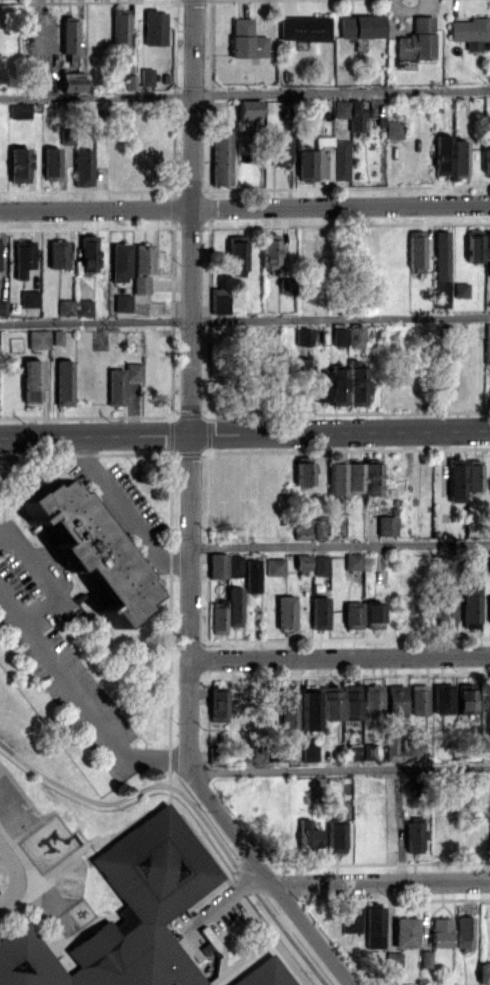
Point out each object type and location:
building: (360, 26)
building: (119, 27)
building: (154, 27)
building: (303, 28)
building: (470, 29)
building: (68, 37)
building: (245, 40)
building: (414, 43)
building: (146, 76)
building: (71, 81)
road: (244, 94)
building: (340, 108)
building: (248, 109)
building: (19, 110)
building: (355, 115)
building: (392, 129)
building: (280, 146)
building: (441, 154)
building: (220, 158)
building: (458, 158)
building: (340, 159)
building: (487, 160)
building: (51, 161)
building: (19, 164)
building: (305, 164)
building: (83, 167)
road: (244, 207)
building: (474, 245)
building: (487, 247)
building: (269, 251)
building: (416, 251)
building: (58, 253)
building: (88, 253)
building: (235, 253)
building: (441, 254)
building: (23, 257)
building: (143, 258)
building: (120, 262)
building: (141, 284)
building: (461, 290)
building: (441, 293)
building: (30, 298)
building: (218, 300)
building: (122, 303)
building: (3, 307)
building: (66, 307)
building: (85, 307)
road: (245, 320)
building: (487, 329)
building: (57, 336)
building: (303, 336)
building: (338, 336)
building: (355, 336)
building: (37, 339)
building: (486, 351)
building: (133, 371)
building: (302, 378)
building: (32, 380)
building: (64, 382)
building: (356, 384)
building: (320, 385)
building: (115, 386)
building: (337, 386)
road: (245, 434)
building: (302, 470)
building: (473, 475)
building: (354, 477)
building: (336, 478)
building: (370, 479)
building: (455, 479)
road: (125, 511)
road: (190, 518)
building: (386, 525)
building: (301, 526)
building: (318, 529)
road: (340, 544)
building: (84, 547)
building: (476, 559)
building: (489, 560)
building: (302, 561)
building: (352, 561)
building: (224, 565)
building: (319, 565)
building: (274, 566)
building: (251, 575)
building: (233, 606)
building: (470, 607)
building: (488, 608)
building: (285, 612)
building: (319, 612)
building: (444, 612)
building: (352, 615)
building: (372, 615)
building: (218, 619)
road: (340, 657)
building: (371, 698)
building: (442, 698)
road: (81, 699)
building: (394, 699)
building: (417, 699)
building: (350, 701)
building: (464, 701)
building: (329, 702)
building: (217, 703)
building: (308, 707)
building: (288, 708)
building: (368, 751)
building: (309, 752)
building: (417, 752)
road: (341, 769)
road: (192, 806)
building: (307, 834)
building: (413, 834)
building: (335, 837)
road: (16, 877)
road: (382, 882)
building: (125, 914)
building: (351, 917)
building: (374, 926)
building: (404, 932)
building: (440, 932)
building: (463, 932)
building: (425, 958)
building: (393, 959)
building: (484, 970)
building: (264, 974)

